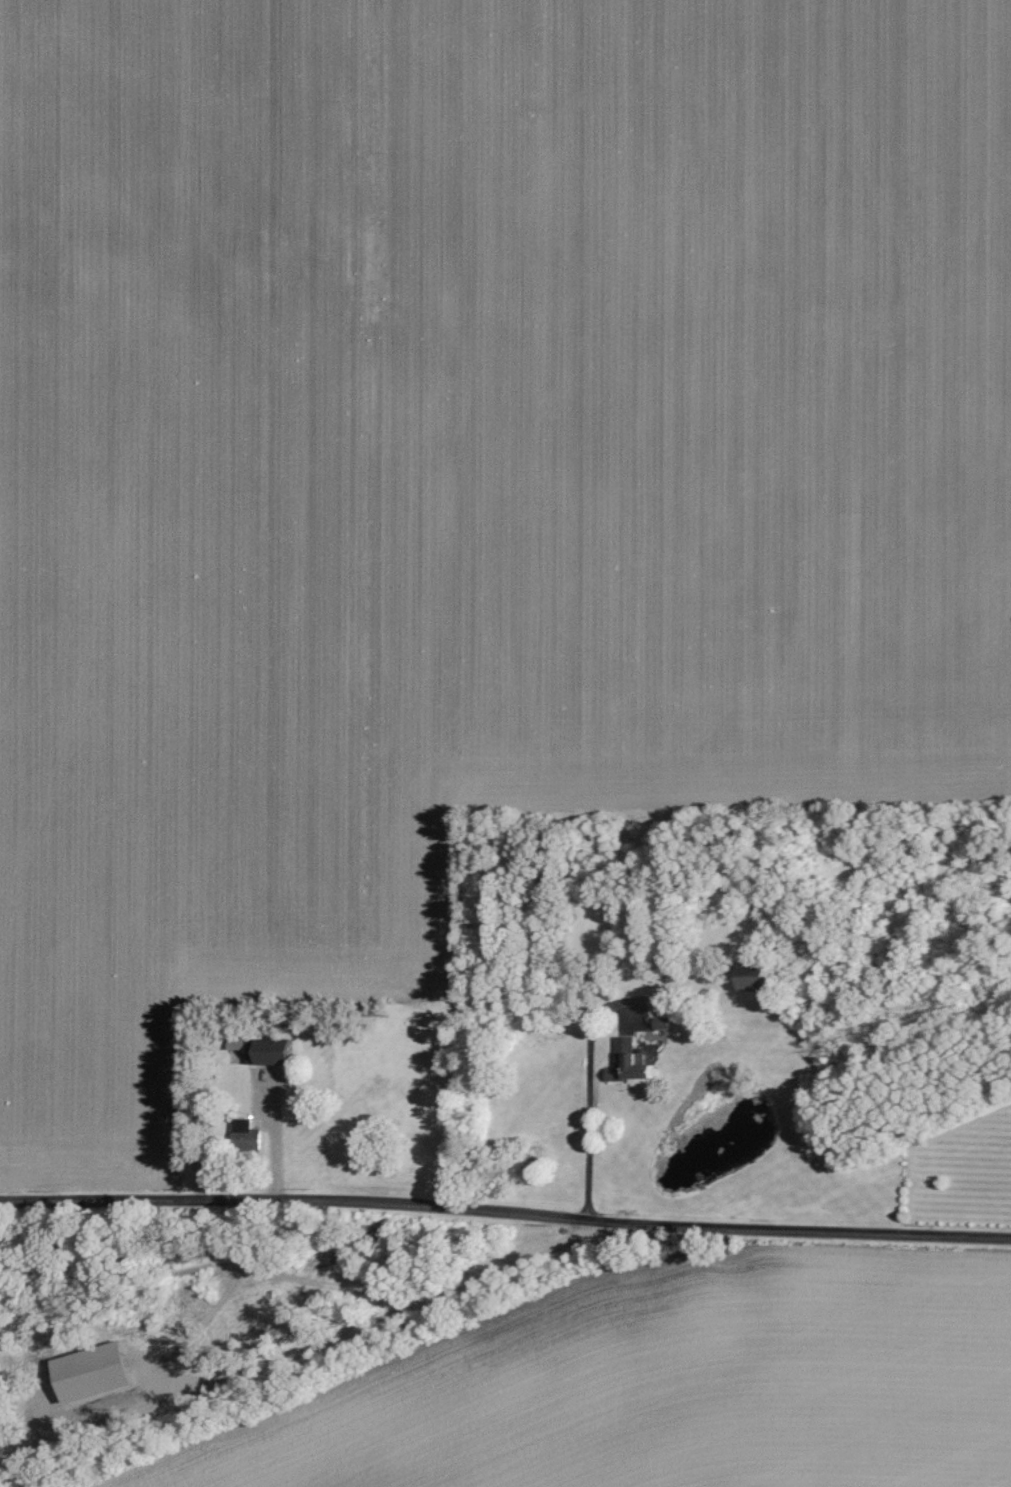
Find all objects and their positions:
building: (237, 1044)
building: (271, 1052)
building: (631, 1063)
road: (591, 1119)
building: (247, 1134)
road: (505, 1207)
building: (192, 1263)
road: (251, 1268)
road: (302, 1350)
building: (94, 1372)

